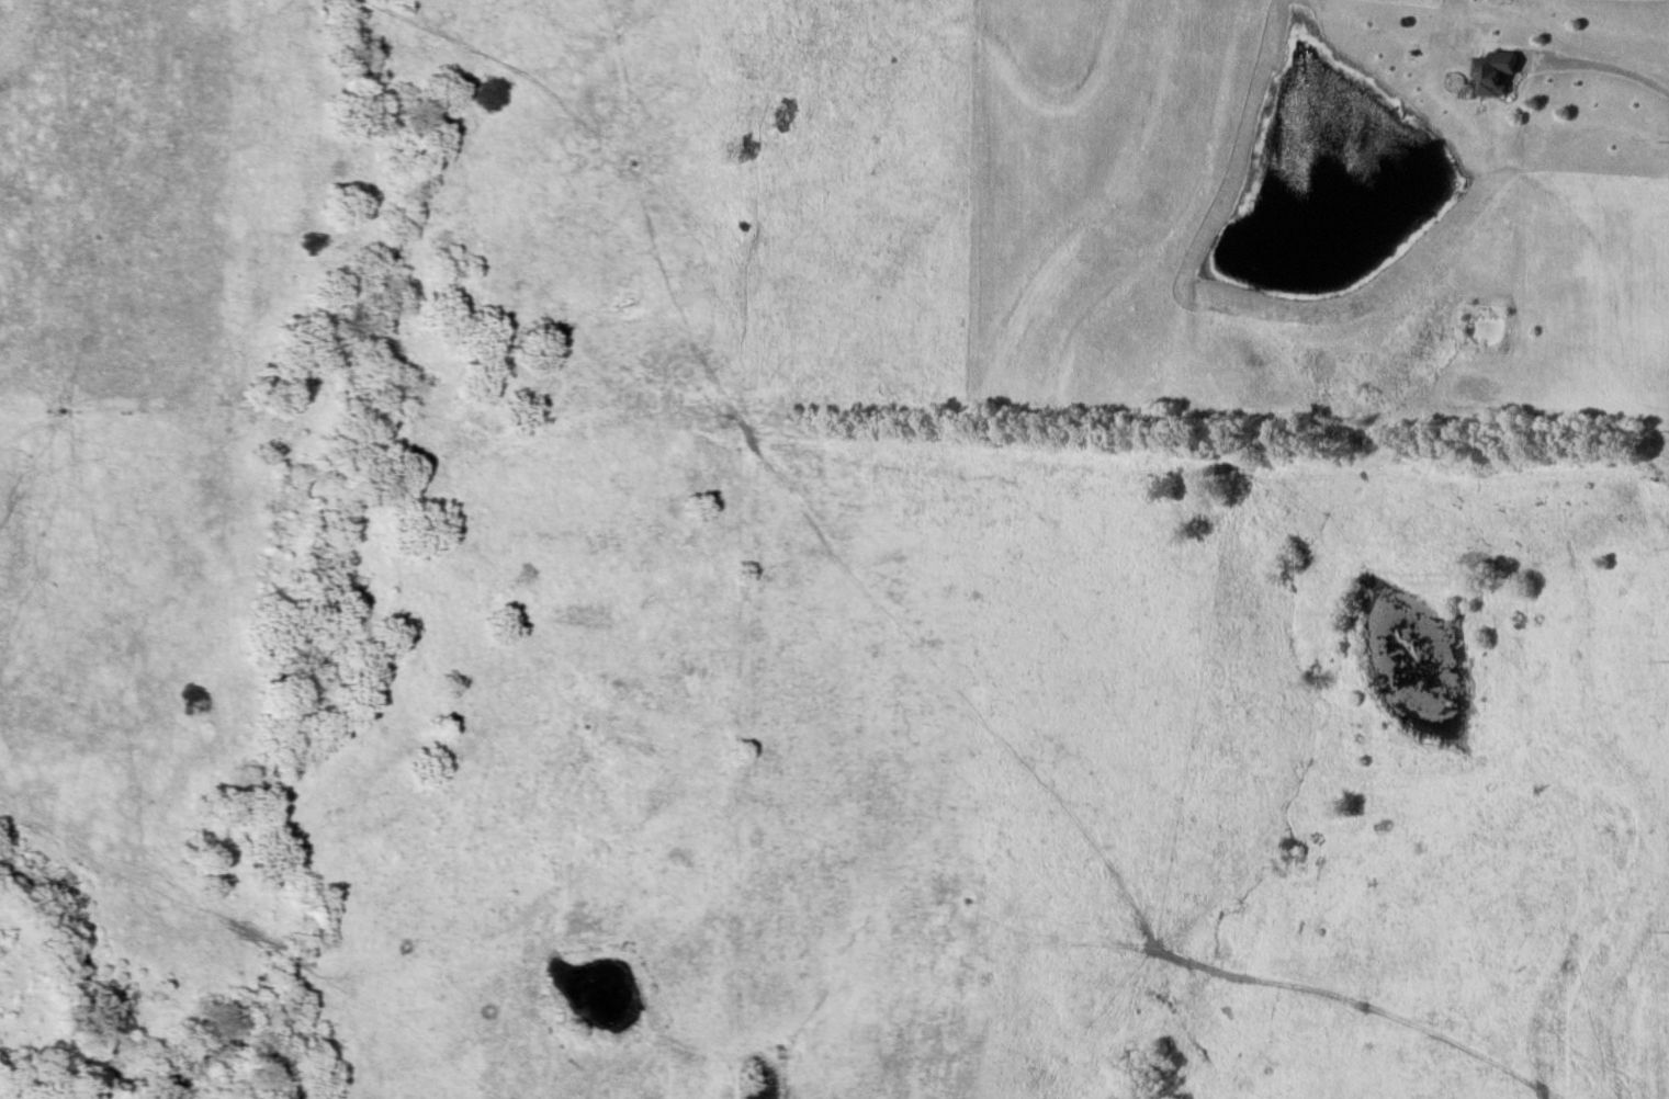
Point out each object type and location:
road: (1603, 67)
building: (1491, 75)
road: (1485, 435)
building: (1654, 480)
river: (97, 1056)

